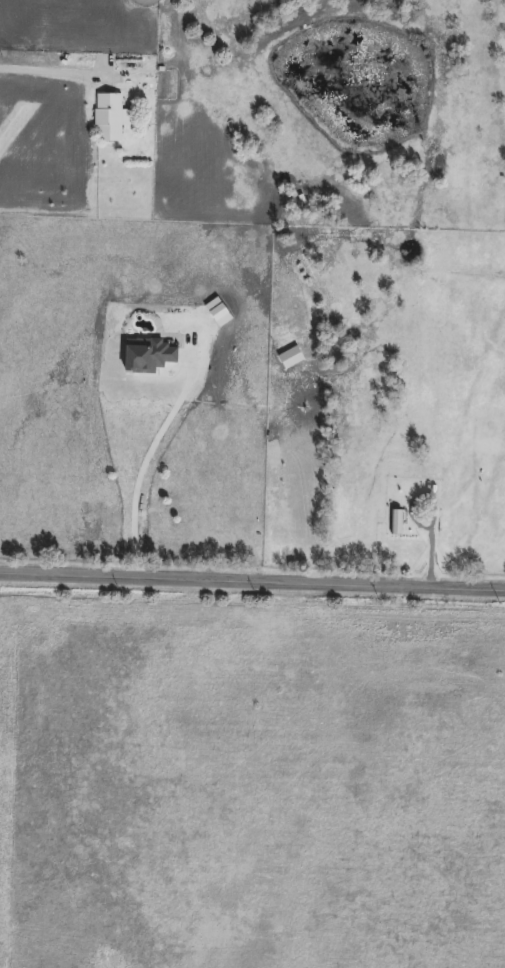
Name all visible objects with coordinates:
road: (56, 73)
building: (108, 117)
road: (145, 458)
building: (251, 478)
road: (252, 578)

